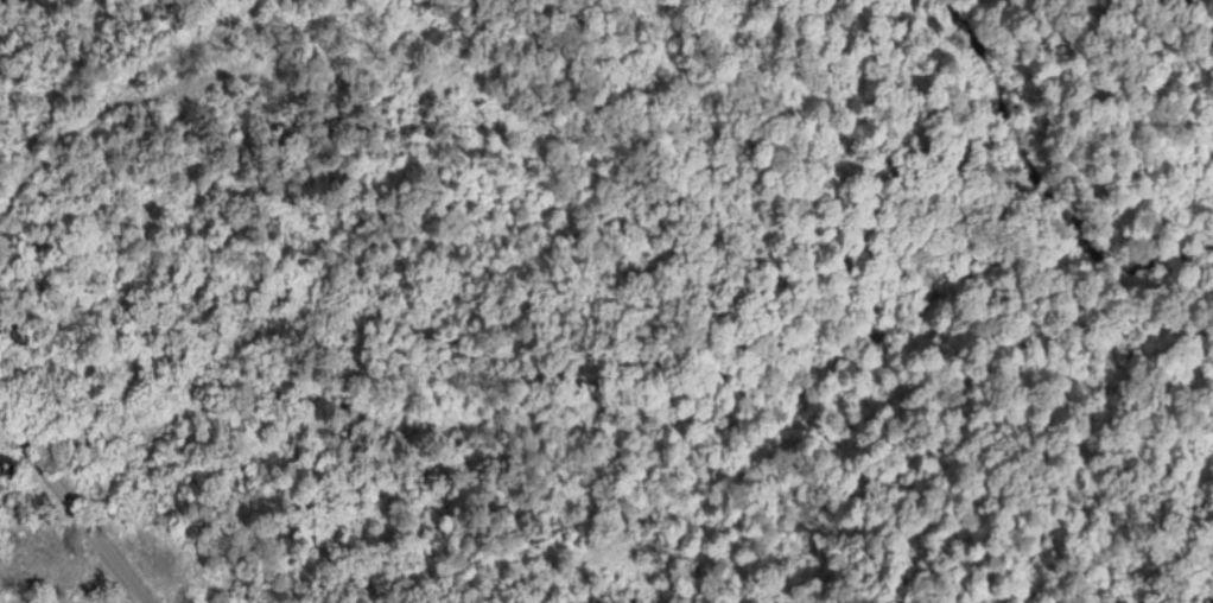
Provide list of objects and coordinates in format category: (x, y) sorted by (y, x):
building: (2, 458)
road: (78, 509)

